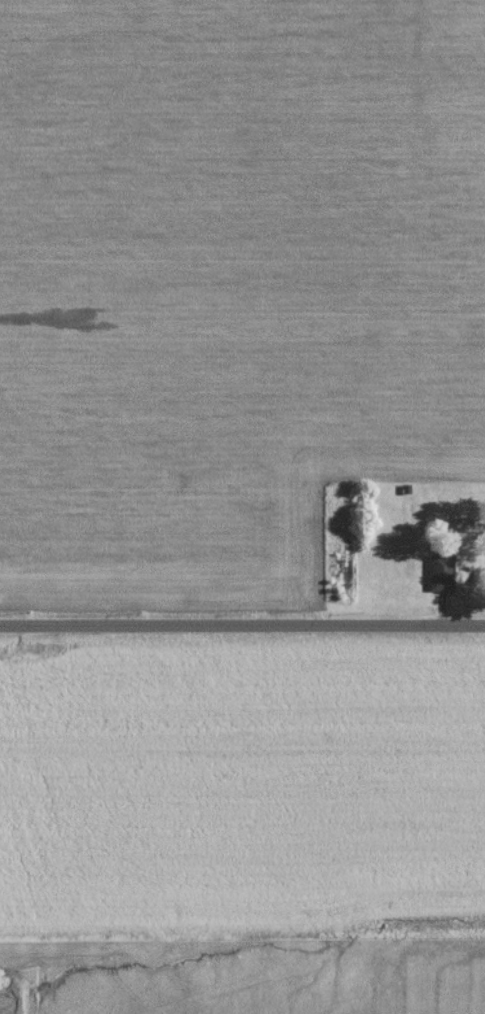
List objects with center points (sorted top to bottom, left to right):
building: (440, 572)
road: (242, 627)

